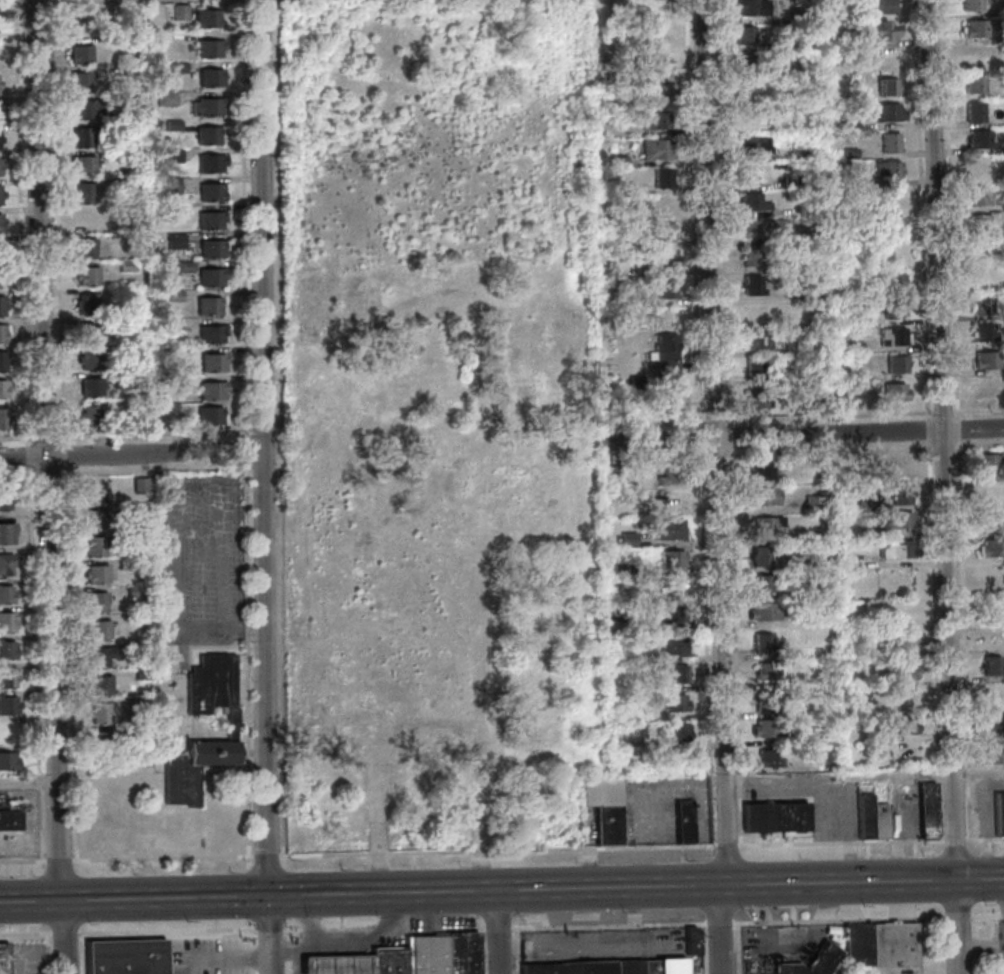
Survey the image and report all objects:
road: (88, 1)
building: (824, 4)
building: (970, 5)
building: (879, 7)
building: (750, 8)
building: (654, 9)
building: (180, 12)
building: (207, 19)
building: (974, 28)
building: (875, 32)
building: (743, 36)
building: (825, 37)
building: (655, 38)
building: (210, 49)
building: (81, 55)
building: (979, 56)
building: (1002, 64)
building: (744, 65)
building: (177, 67)
building: (657, 67)
building: (130, 71)
building: (615, 77)
building: (210, 79)
building: (80, 83)
building: (0, 84)
building: (972, 85)
building: (885, 87)
building: (658, 92)
building: (855, 98)
building: (166, 99)
building: (207, 108)
building: (85, 109)
building: (0, 112)
building: (973, 112)
building: (886, 114)
building: (752, 117)
building: (655, 120)
building: (173, 125)
building: (841, 126)
building: (208, 136)
building: (81, 138)
building: (977, 139)
building: (0, 140)
building: (888, 143)
building: (752, 146)
building: (1003, 148)
building: (656, 150)
building: (795, 153)
building: (847, 153)
building: (121, 155)
building: (173, 156)
building: (618, 162)
building: (210, 164)
building: (83, 165)
building: (0, 166)
building: (885, 170)
building: (747, 175)
building: (663, 179)
building: (121, 181)
building: (788, 181)
building: (171, 186)
building: (620, 189)
building: (157, 192)
building: (83, 193)
building: (212, 193)
building: (1, 195)
building: (976, 197)
building: (889, 198)
building: (751, 202)
building: (664, 205)
building: (1002, 205)
building: (861, 208)
road: (947, 208)
road: (918, 209)
road: (690, 213)
road: (720, 213)
road: (243, 219)
building: (87, 220)
building: (210, 221)
road: (19, 222)
road: (55, 222)
building: (1, 223)
building: (977, 223)
building: (887, 225)
building: (758, 229)
building: (657, 232)
building: (810, 235)
building: (178, 241)
building: (85, 249)
building: (211, 250)
building: (1, 252)
building: (750, 257)
building: (665, 260)
building: (126, 266)
building: (184, 267)
building: (86, 276)
building: (980, 277)
building: (211, 278)
building: (1, 279)
building: (891, 280)
building: (751, 285)
building: (665, 288)
building: (807, 291)
building: (835, 292)
building: (173, 296)
building: (86, 304)
building: (2, 306)
building: (980, 306)
building: (208, 307)
building: (891, 309)
building: (756, 313)
building: (171, 324)
building: (3, 332)
building: (89, 332)
building: (983, 332)
building: (210, 335)
building: (892, 336)
building: (756, 339)
building: (852, 347)
building: (125, 349)
building: (790, 349)
building: (666, 354)
building: (984, 359)
building: (3, 360)
building: (88, 360)
building: (212, 363)
building: (657, 364)
building: (894, 364)
building: (753, 368)
building: (835, 375)
building: (130, 377)
building: (182, 381)
building: (634, 382)
building: (3, 388)
building: (91, 388)
building: (987, 389)
building: (212, 391)
building: (817, 392)
building: (837, 392)
building: (893, 392)
building: (756, 399)
building: (667, 402)
road: (976, 410)
road: (939, 411)
road: (825, 415)
building: (210, 416)
building: (91, 417)
building: (3, 419)
road: (712, 420)
road: (652, 421)
road: (955, 429)
road: (925, 430)
road: (279, 433)
road: (153, 435)
road: (261, 435)
road: (803, 435)
road: (698, 437)
road: (16, 438)
road: (45, 438)
road: (726, 438)
road: (276, 439)
road: (977, 445)
road: (940, 446)
road: (244, 451)
road: (826, 451)
road: (63, 454)
road: (27, 455)
road: (131, 455)
road: (713, 456)
road: (670, 457)
building: (609, 459)
building: (986, 463)
road: (143, 465)
building: (893, 466)
road: (247, 468)
road: (262, 468)
road: (276, 468)
building: (760, 471)
road: (99, 472)
road: (17, 474)
road: (46, 474)
building: (611, 474)
building: (669, 475)
building: (140, 484)
road: (46, 487)
road: (262, 487)
road: (716, 487)
road: (942, 487)
building: (987, 490)
building: (92, 491)
building: (899, 494)
building: (762, 497)
building: (669, 498)
building: (4, 499)
building: (810, 499)
building: (865, 505)
building: (810, 507)
building: (126, 508)
building: (95, 519)
building: (987, 519)
building: (896, 520)
building: (765, 524)
building: (669, 530)
building: (4, 534)
building: (865, 535)
building: (811, 536)
building: (126, 537)
building: (627, 539)
building: (94, 548)
building: (990, 548)
building: (895, 550)
building: (759, 557)
building: (670, 559)
parking lot: (200, 560)
building: (126, 564)
building: (5, 565)
building: (795, 565)
building: (617, 570)
building: (632, 570)
building: (96, 574)
building: (993, 581)
road: (201, 584)
building: (761, 584)
building: (671, 587)
building: (134, 592)
building: (6, 594)
building: (630, 599)
building: (96, 603)
building: (763, 613)
building: (675, 614)
building: (141, 620)
building: (6, 623)
road: (192, 627)
building: (98, 630)
building: (901, 640)
road: (962, 640)
road: (932, 641)
street lamp: (251, 642)
building: (762, 643)
building: (672, 645)
road: (705, 646)
building: (142, 647)
road: (734, 647)
road: (181, 648)
building: (6, 650)
building: (100, 657)
road: (70, 661)
road: (34, 663)
road: (245, 666)
building: (991, 666)
building: (903, 667)
building: (766, 671)
building: (142, 674)
building: (676, 674)
building: (7, 679)
building: (100, 684)
building: (903, 695)
building: (765, 700)
building: (674, 703)
building: (8, 705)
building: (140, 705)
building: (99, 713)
building: (995, 723)
building: (903, 725)
building: (767, 728)
building: (677, 731)
building: (8, 732)
building: (230, 733)
building: (824, 735)
building: (102, 740)
building: (994, 752)
building: (826, 753)
building: (769, 757)
building: (7, 762)
road: (977, 774)
road: (27, 781)
road: (831, 790)
building: (14, 804)
building: (603, 809)
building: (927, 810)
building: (999, 814)
building: (774, 817)
building: (864, 817)
building: (9, 821)
building: (879, 822)
building: (683, 823)
road: (985, 826)
road: (954, 840)
road: (984, 840)
road: (840, 842)
road: (726, 845)
road: (496, 850)
road: (264, 855)
road: (161, 857)
road: (59, 859)
road: (23, 860)
road: (501, 890)
road: (283, 892)
road: (248, 895)
traffic signals: (268, 897)
road: (988, 916)
road: (958, 917)
road: (839, 919)
road: (720, 922)
road: (608, 926)
building: (832, 928)
road: (444, 929)
road: (497, 929)
road: (165, 930)
road: (267, 930)
road: (387, 930)
road: (346, 931)
road: (290, 932)
road: (311, 932)
road: (497, 932)
road: (63, 933)
road: (25, 934)
building: (832, 938)
building: (692, 940)
parking lot: (604, 941)
road: (343, 942)
building: (878, 943)
road: (981, 945)
road: (286, 946)
road: (920, 946)
road: (250, 947)
road: (738, 947)
road: (291, 948)
road: (701, 948)
road: (479, 951)
road: (515, 951)
road: (80, 953)
building: (462, 953)
road: (45, 954)
building: (426, 954)
parking lot: (206, 955)
building: (122, 956)
road: (219, 957)
building: (2, 958)
parking lot: (23, 958)
road: (21, 959)
building: (386, 959)
building: (749, 960)
building: (809, 960)
road: (294, 961)
building: (337, 964)
building: (608, 966)
building: (749, 968)

